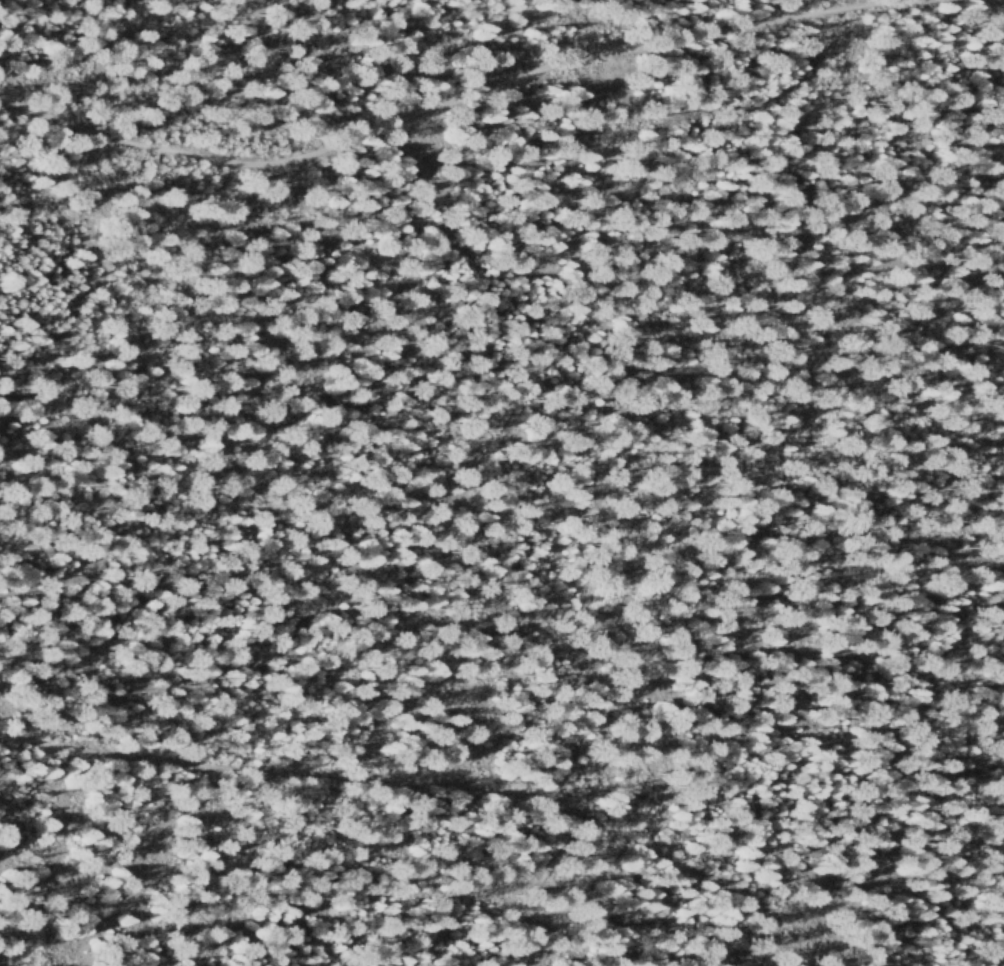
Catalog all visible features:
road: (996, 1)
road: (452, 100)
road: (431, 782)

